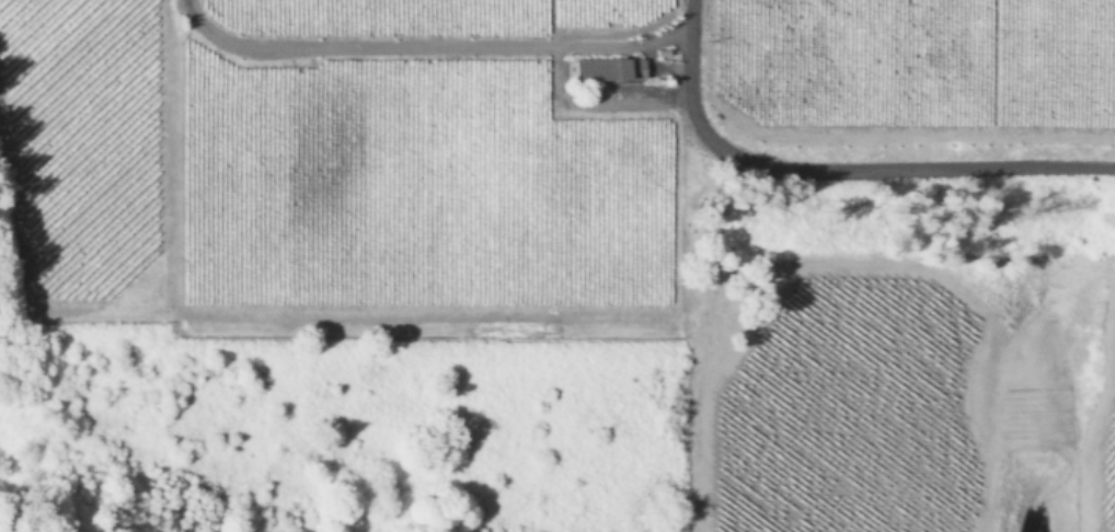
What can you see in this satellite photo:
road: (656, 34)
road: (404, 47)
building: (611, 68)
road: (650, 73)
road: (834, 173)

